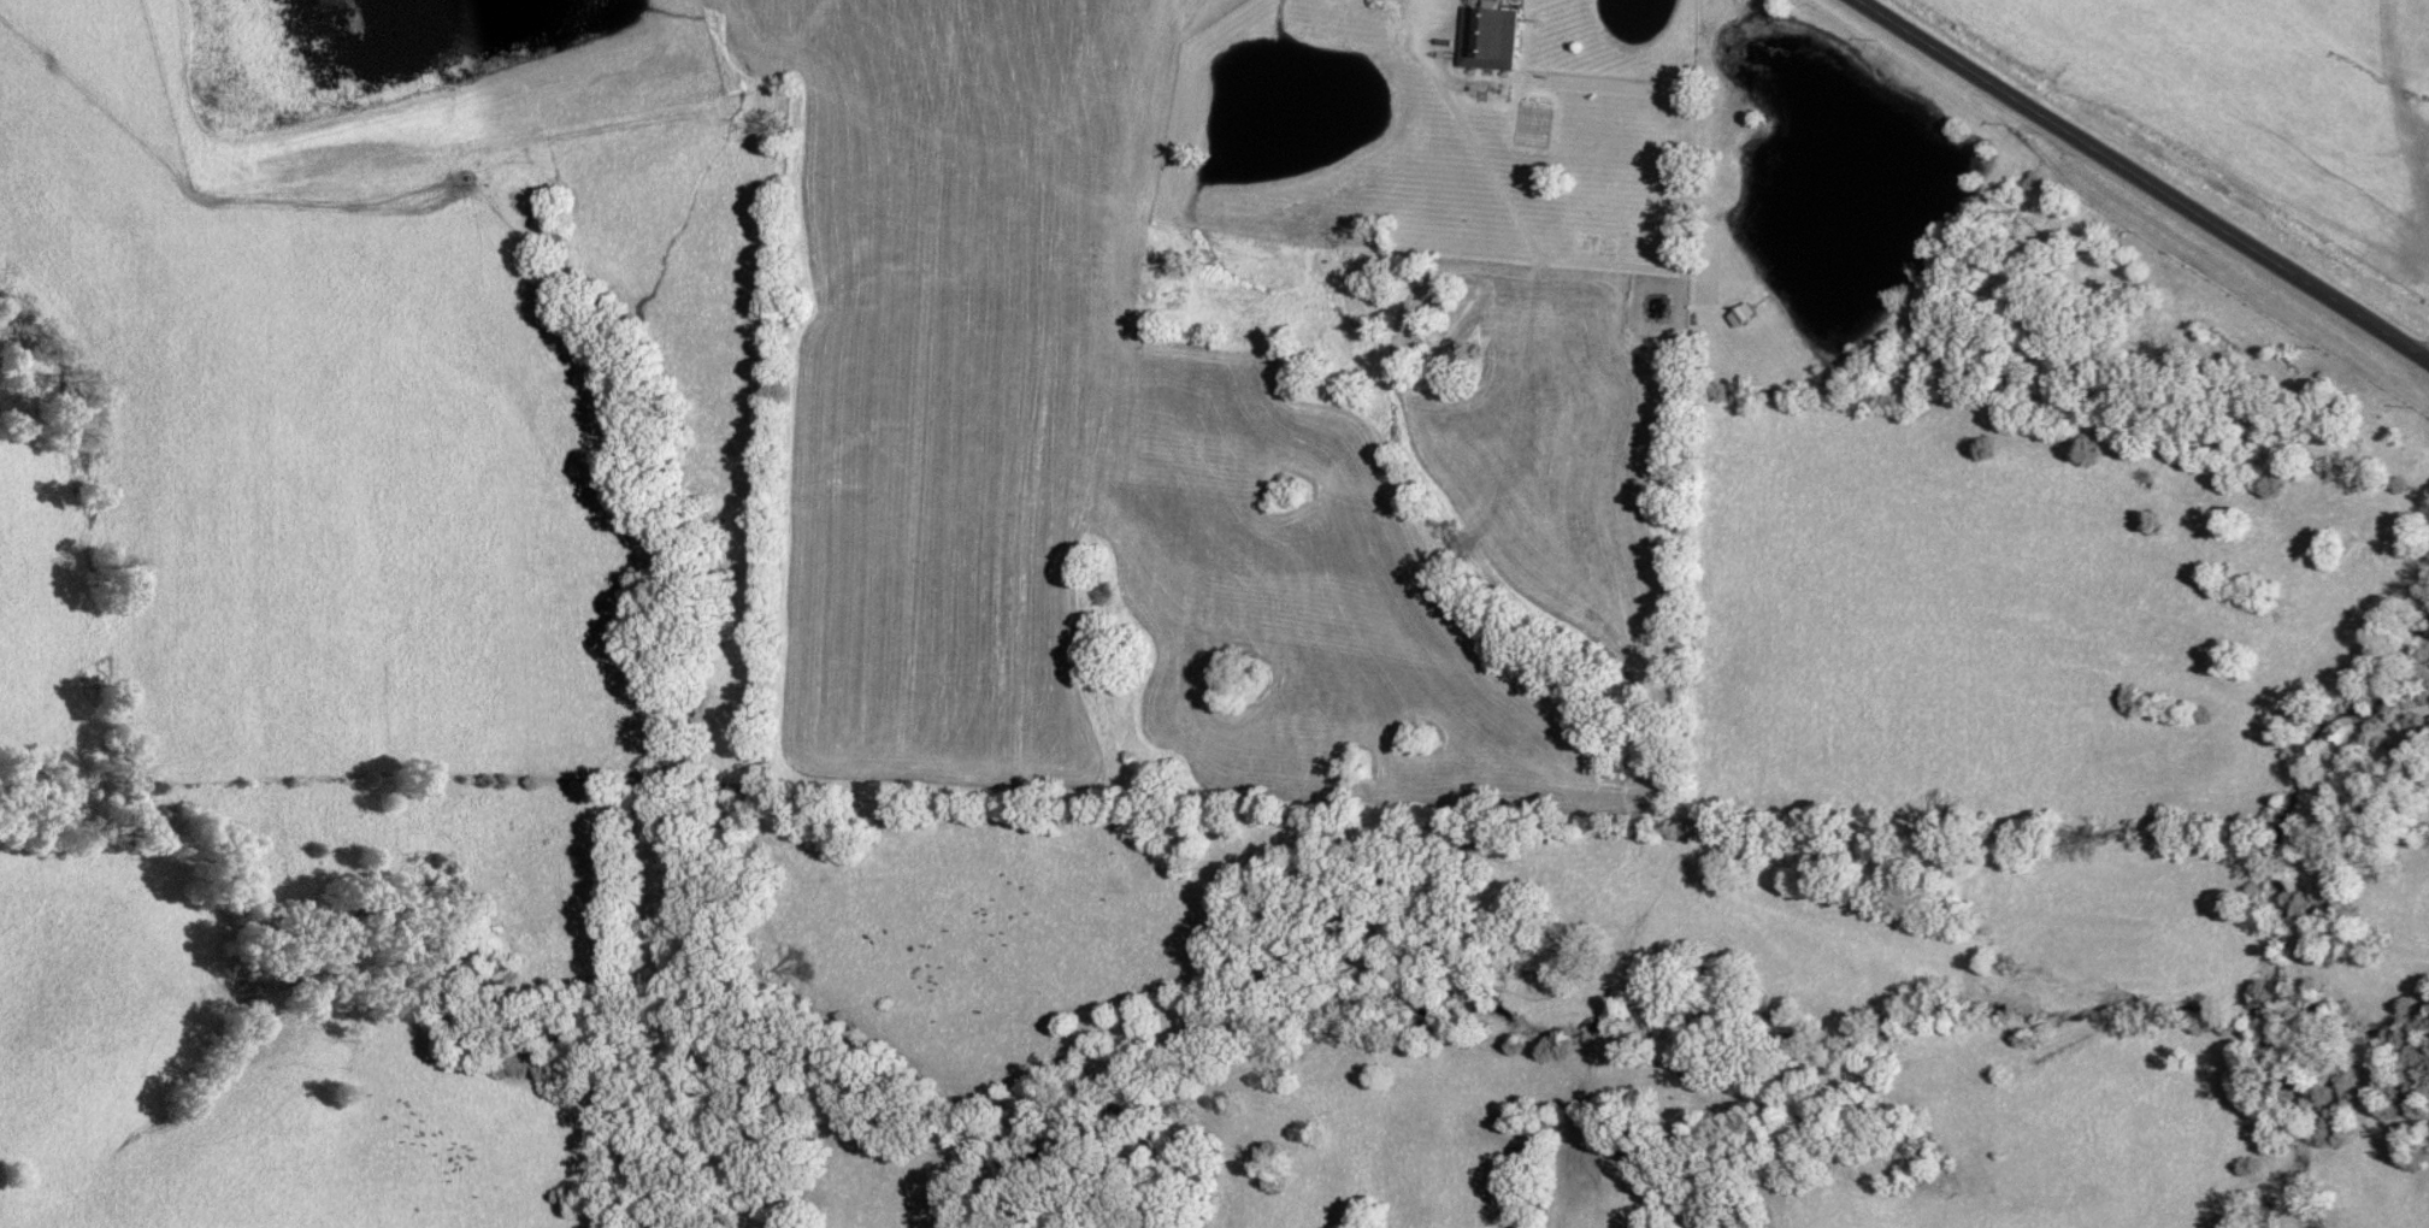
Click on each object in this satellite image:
building: (1488, 39)
road: (2140, 182)

